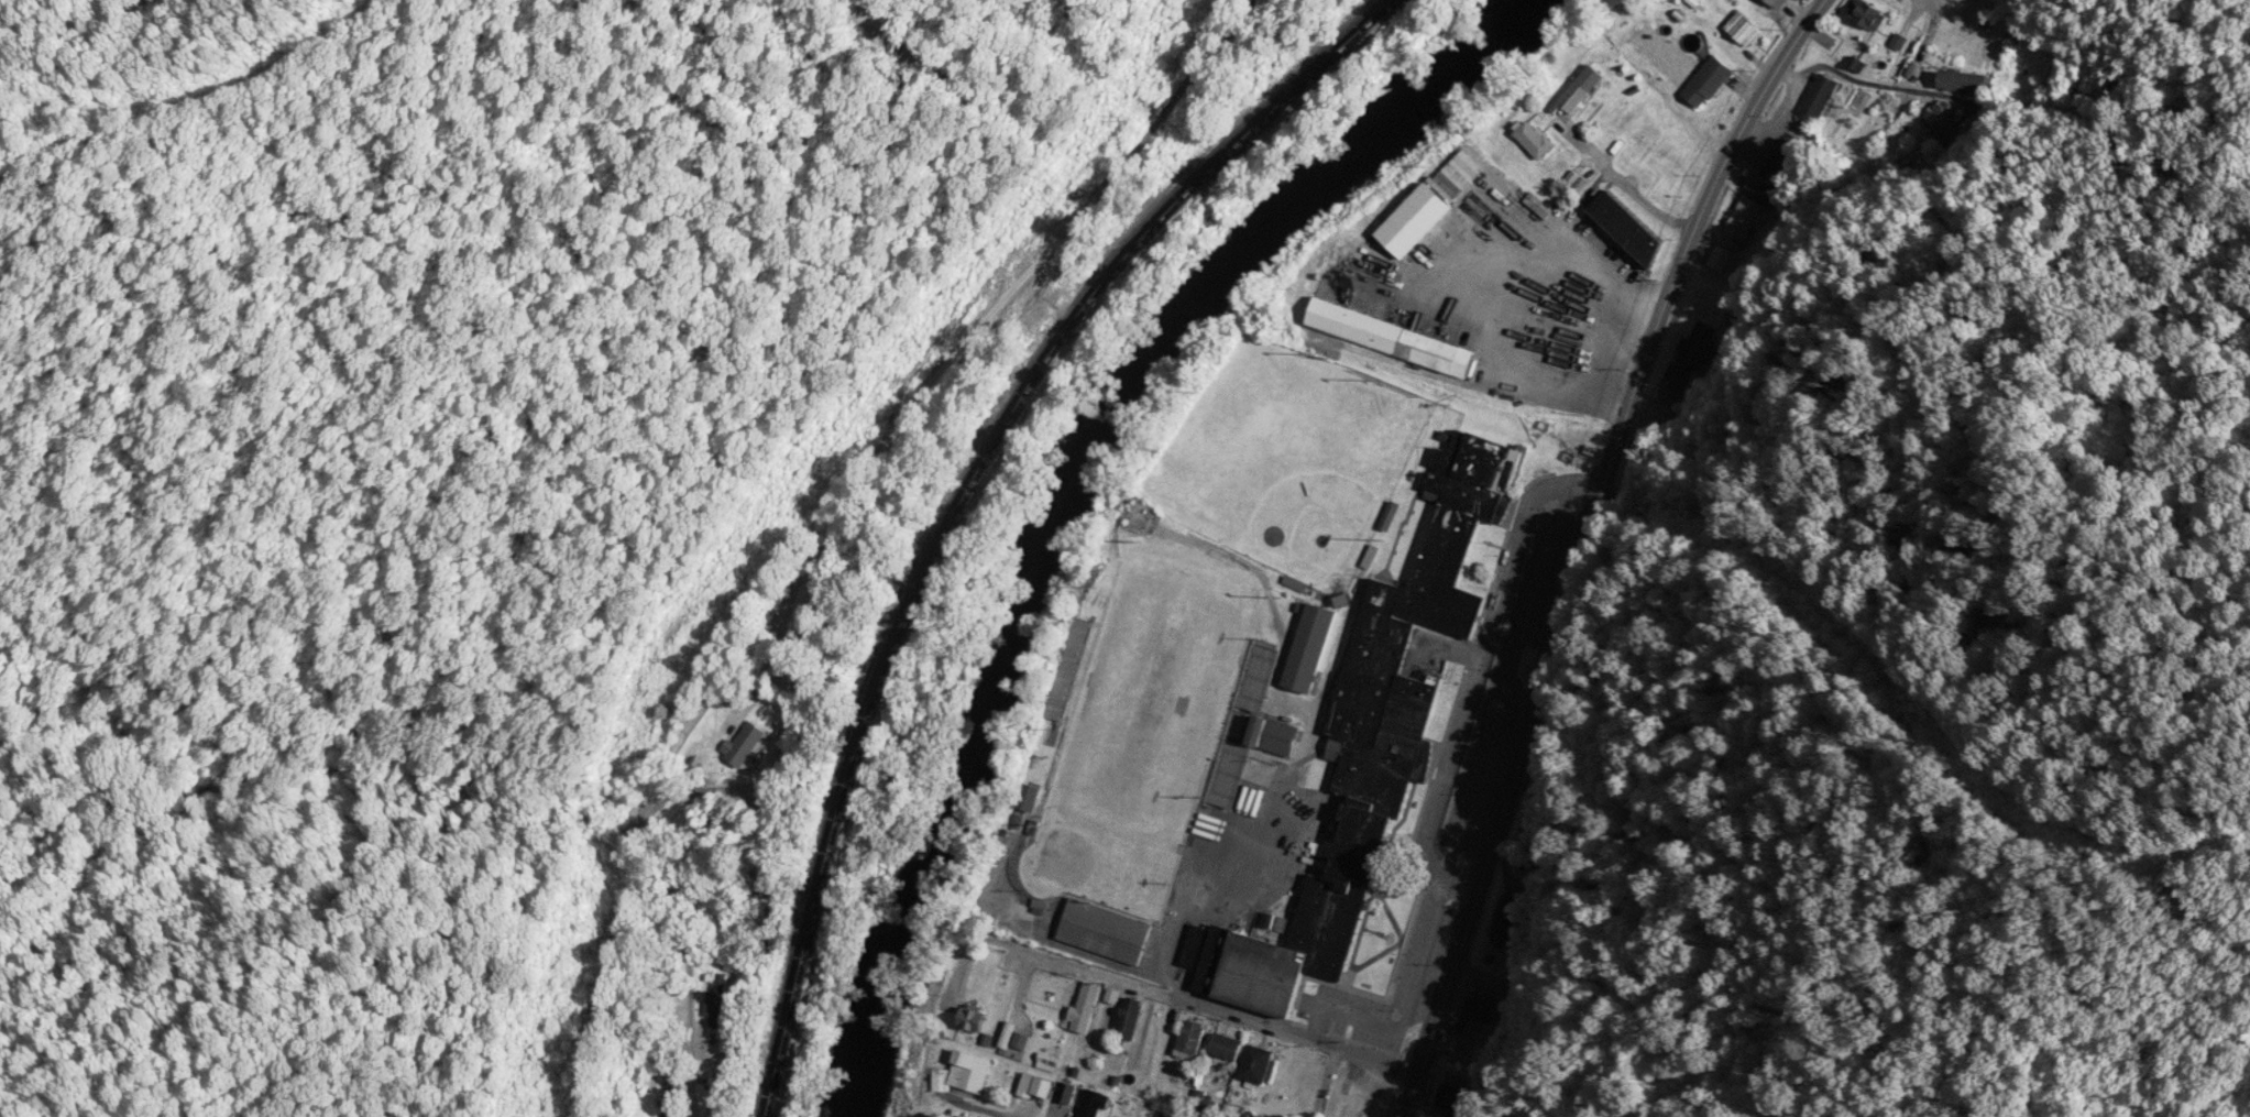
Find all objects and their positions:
building: (1778, 3)
building: (1890, 3)
building: (1867, 15)
building: (1744, 30)
building: (1709, 81)
building: (1960, 83)
building: (1585, 95)
building: (1817, 97)
road: (1996, 101)
power tower: (1112, 135)
building: (1536, 140)
building: (1782, 162)
road: (1617, 184)
building: (1748, 211)
building: (1419, 221)
building: (1632, 229)
building: (1719, 260)
building: (1393, 339)
building: (1540, 351)
building: (1692, 355)
river: (1082, 486)
railway: (965, 500)
road: (827, 536)
road: (1582, 544)
building: (1311, 649)
power tower: (665, 662)
building: (1277, 737)
building: (750, 747)
building: (1370, 747)
building: (1029, 798)
building: (1507, 923)
building: (1105, 931)
building: (1001, 987)
building: (718, 1001)
building: (1086, 1008)
road: (1212, 1010)
building: (1474, 1010)
building: (1130, 1019)
building: (974, 1023)
building: (1021, 1036)
building: (1192, 1039)
building: (1228, 1048)
building: (1050, 1055)
building: (1259, 1064)
building: (972, 1071)
road: (1322, 1083)
building: (1039, 1086)
building: (1068, 1093)
building: (670, 1095)
building: (1456, 1100)
building: (1094, 1105)
road: (970, 1107)
building: (1373, 1108)
building: (1261, 1116)

